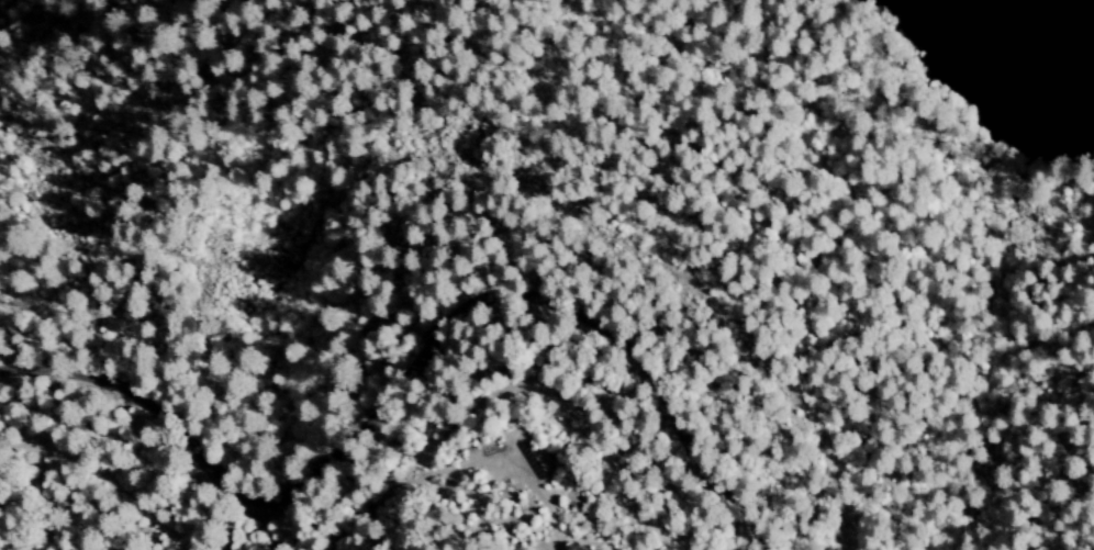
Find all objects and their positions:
road: (410, 370)

